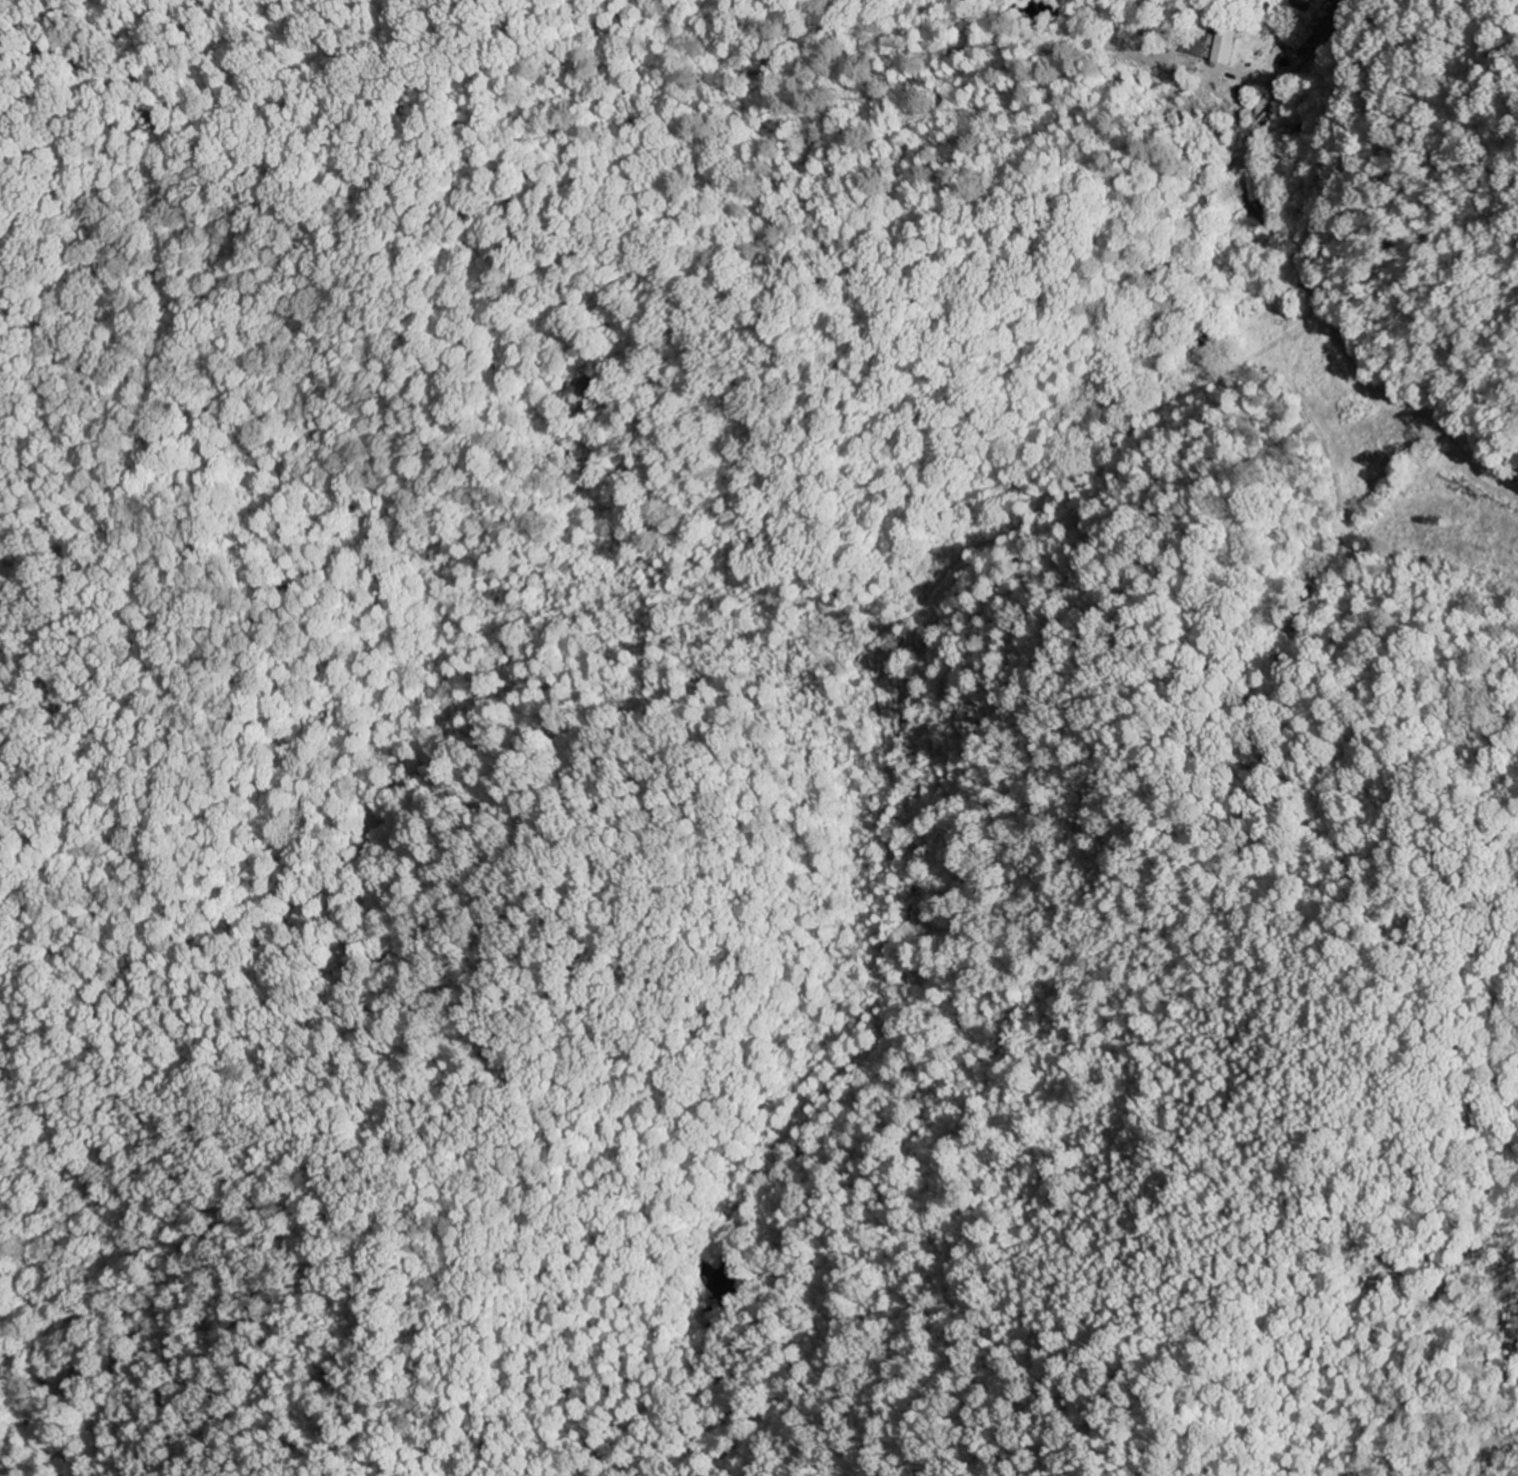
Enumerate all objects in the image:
building: (1214, 48)

